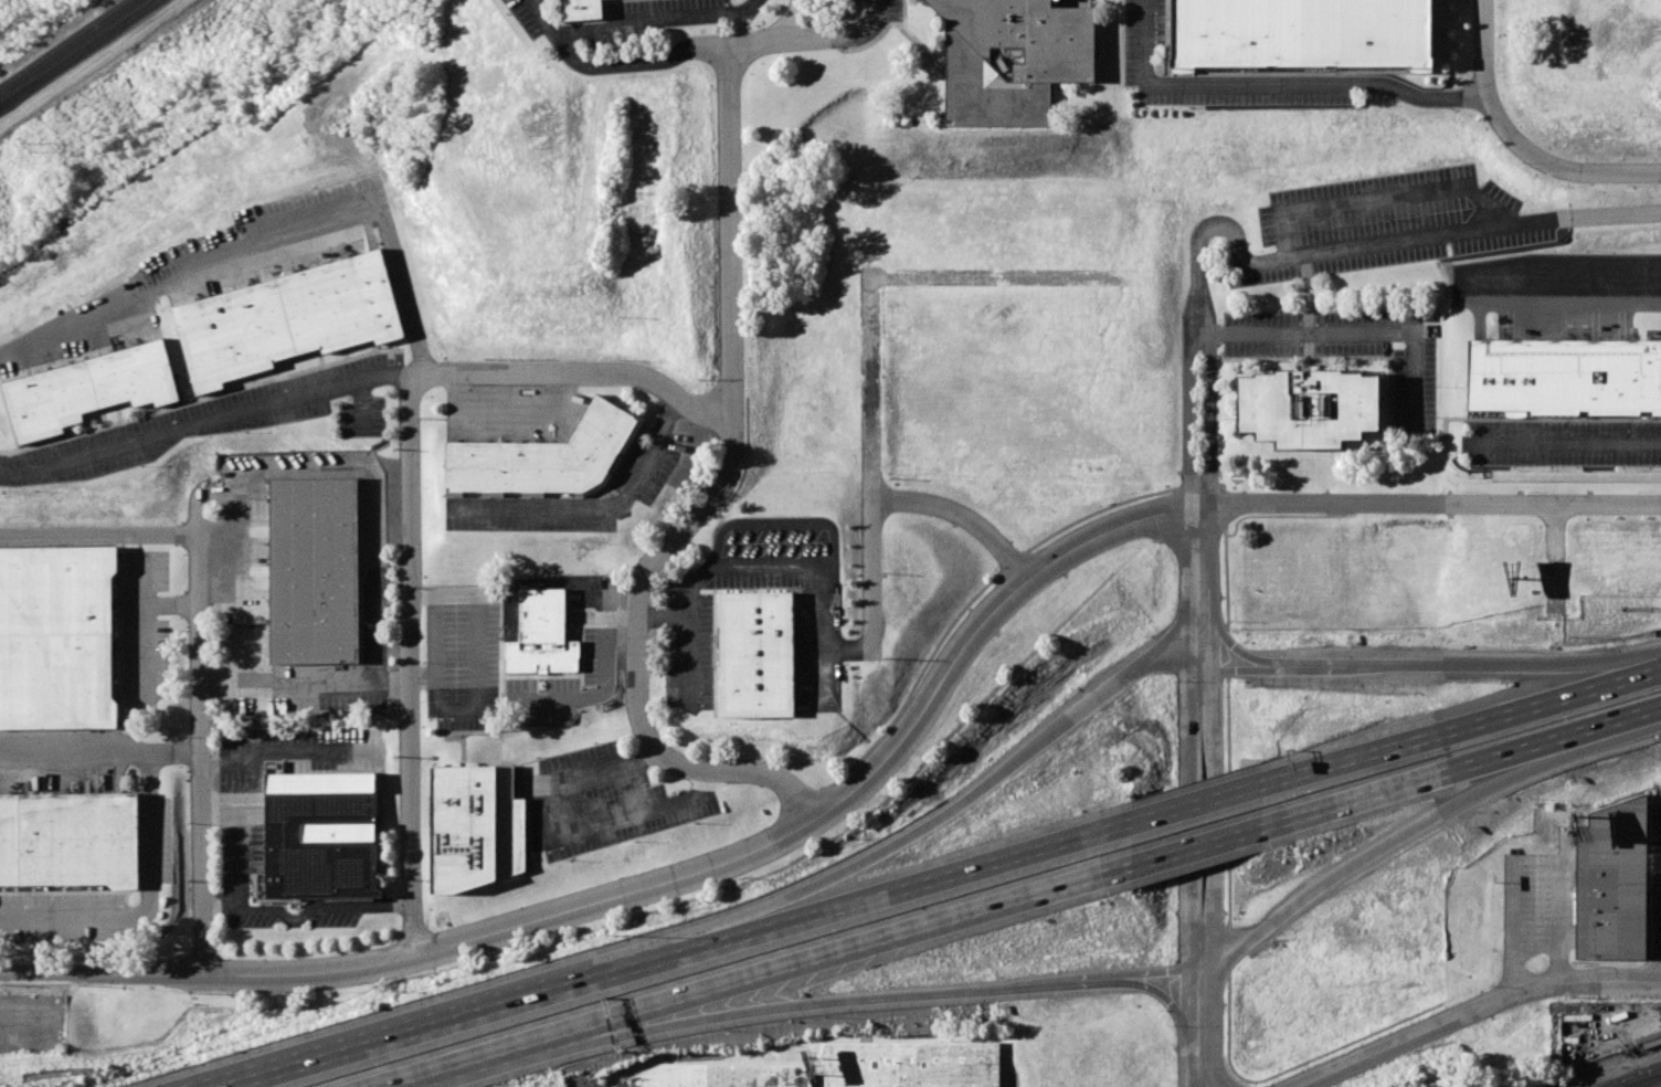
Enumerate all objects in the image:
parking lot: (660, 6)
road: (747, 7)
building: (581, 8)
parking lot: (897, 11)
parking lot: (523, 18)
road: (665, 20)
building: (1300, 33)
road: (557, 36)
parking lot: (617, 40)
road: (814, 41)
railway: (67, 45)
railway: (78, 53)
road: (659, 56)
building: (1006, 56)
road: (94, 65)
road: (1273, 84)
road: (1514, 144)
power tower: (32, 148)
road: (1382, 197)
road: (268, 232)
road: (1362, 247)
road: (990, 276)
road: (1566, 294)
building: (284, 319)
road: (1355, 333)
road: (516, 371)
building: (1565, 376)
building: (88, 388)
building: (1308, 410)
road: (1187, 419)
road: (1208, 419)
road: (159, 435)
road: (1566, 443)
building: (544, 458)
road: (868, 467)
road: (705, 499)
road: (1321, 504)
road: (1499, 504)
road: (1607, 504)
road: (604, 508)
road: (959, 516)
road: (781, 524)
road: (1553, 531)
road: (99, 532)
road: (780, 564)
building: (314, 569)
road: (377, 571)
road: (1199, 585)
road: (436, 634)
building: (541, 634)
building: (59, 637)
building: (754, 654)
road: (1430, 665)
road: (411, 666)
road: (1274, 666)
road: (1587, 667)
road: (1126, 674)
road: (606, 686)
road: (1549, 706)
road: (1620, 714)
road: (202, 742)
road: (1513, 747)
road: (284, 750)
road: (76, 753)
road: (1365, 759)
road: (1511, 769)
road: (1367, 791)
road: (961, 800)
road: (1198, 808)
road: (1187, 819)
road: (1212, 819)
building: (476, 826)
road: (567, 832)
building: (70, 837)
road: (240, 842)
building: (320, 843)
road: (1193, 843)
road: (663, 880)
road: (149, 882)
building: (1612, 883)
road: (1318, 885)
road: (891, 896)
road: (1558, 899)
road: (219, 907)
road: (320, 910)
road: (765, 912)
road: (1514, 930)
road: (1537, 943)
road: (843, 946)
road: (1136, 977)
road: (1525, 992)
road: (935, 993)
road: (694, 1012)
road: (459, 1022)
road: (1203, 1030)
road: (474, 1054)
building: (910, 1065)
road: (1348, 1065)
railway: (1611, 1066)
building: (724, 1075)
railway: (1631, 1075)
railway: (1642, 1080)
railway: (1647, 1081)

